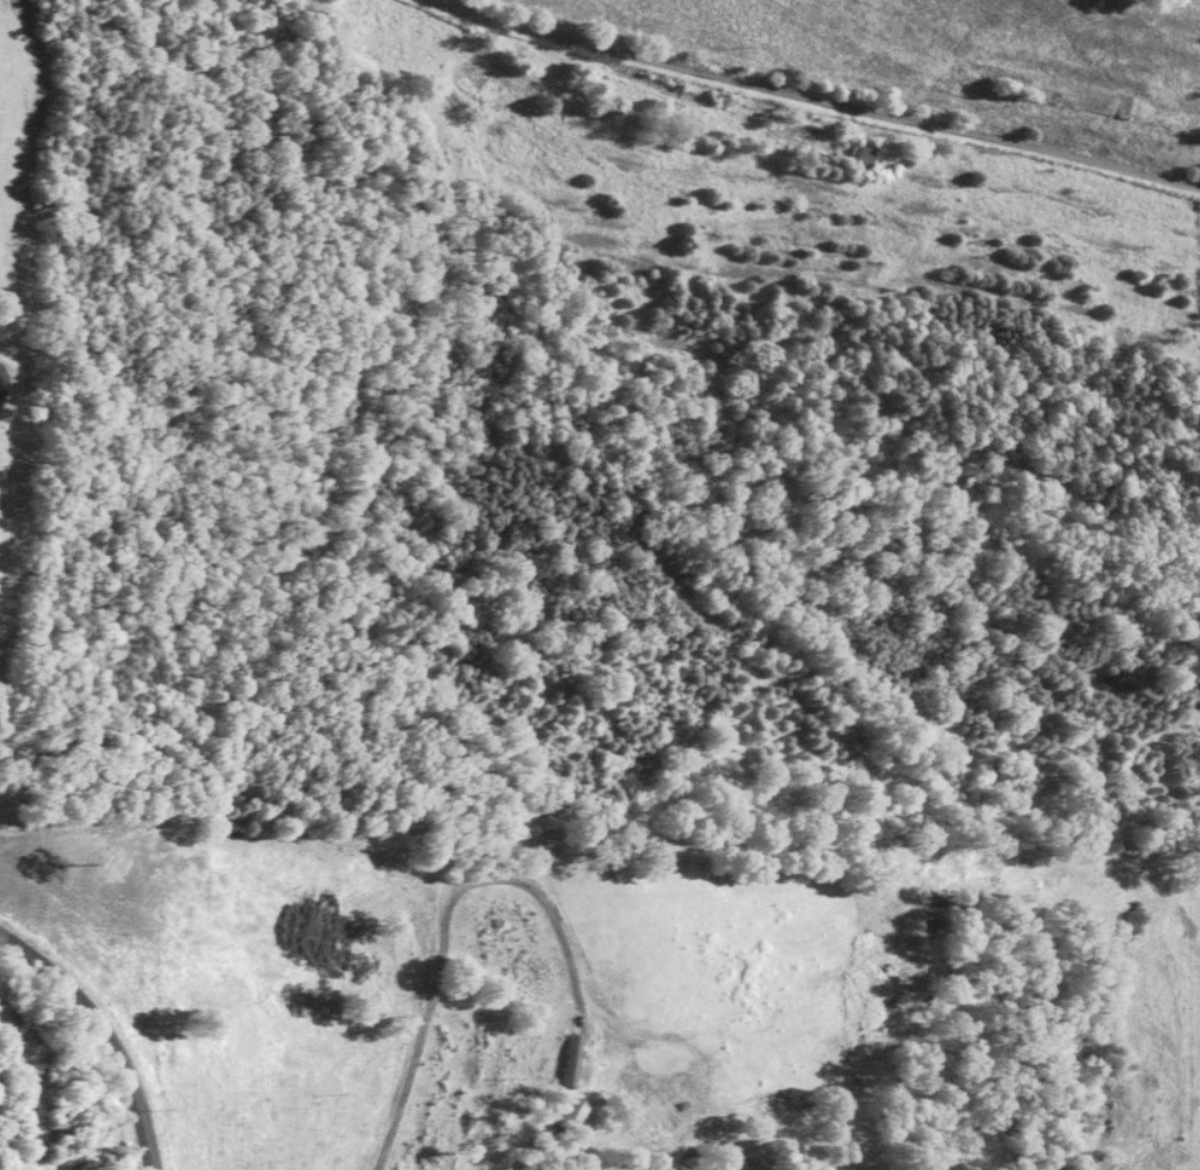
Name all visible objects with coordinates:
road: (811, 103)
road: (485, 879)
road: (109, 1030)
building: (564, 1110)

